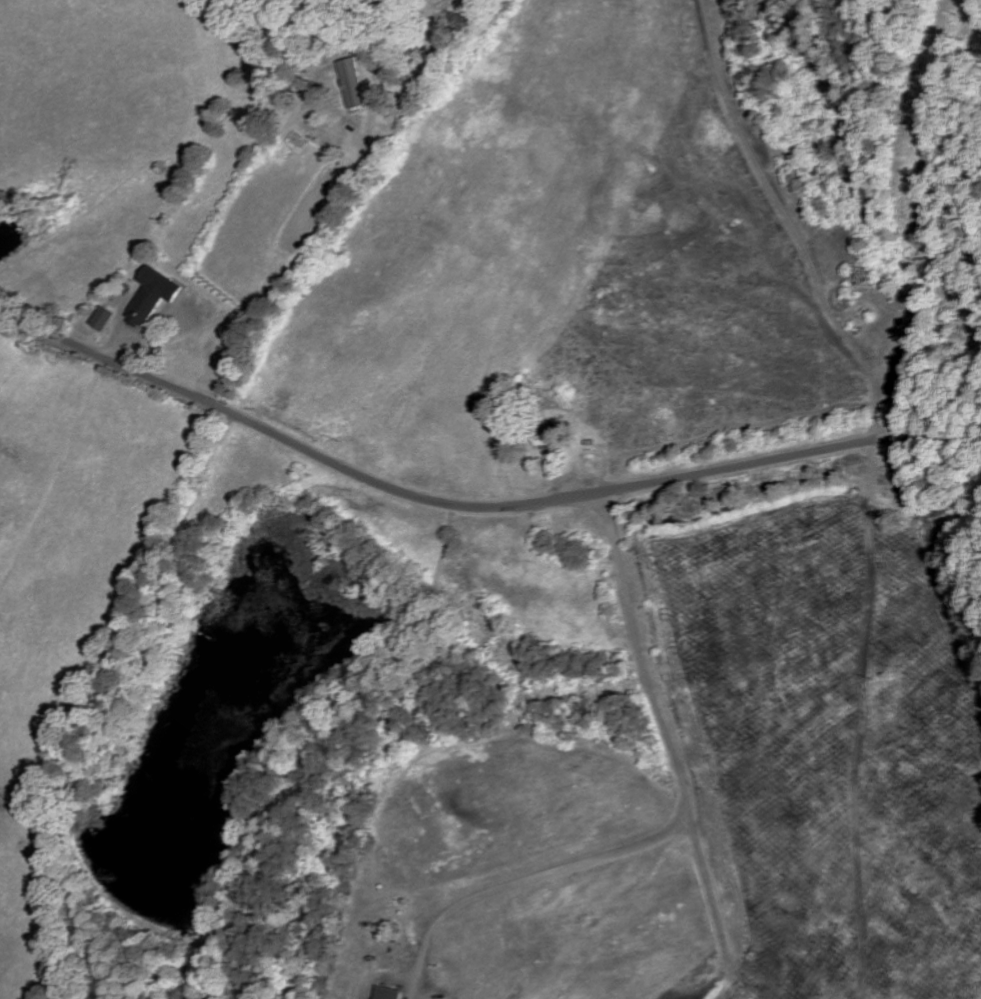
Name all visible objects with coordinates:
building: (349, 84)
road: (280, 284)
building: (149, 297)
building: (99, 320)
road: (875, 385)
road: (473, 507)
road: (640, 653)
road: (525, 880)
road: (710, 907)
building: (393, 994)
road: (733, 996)

